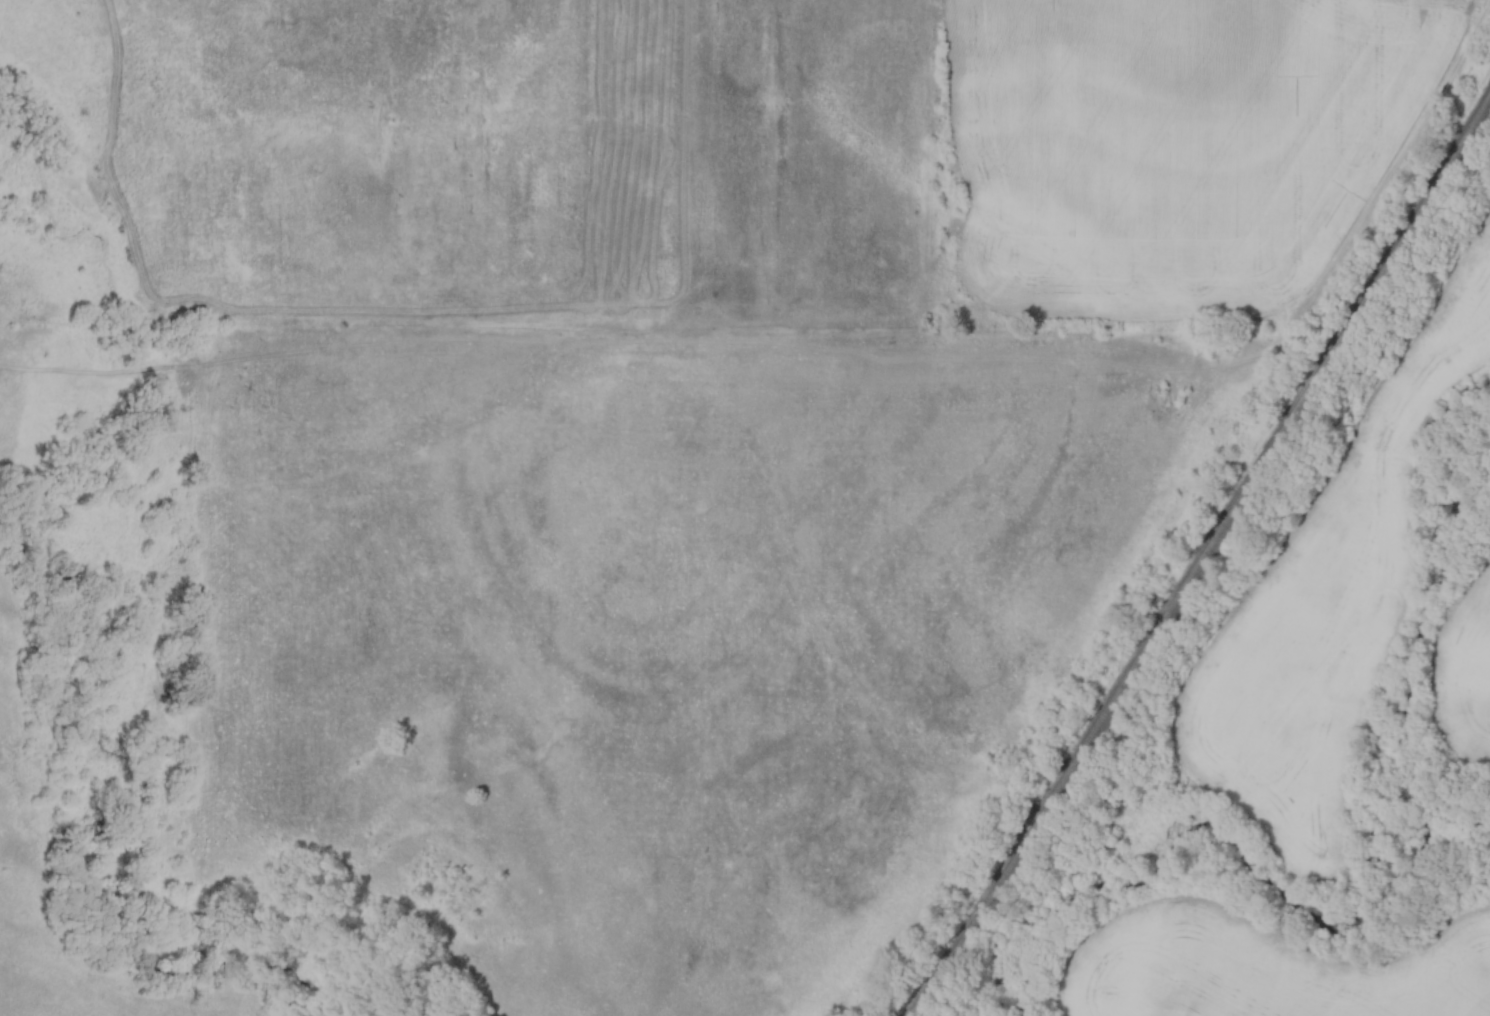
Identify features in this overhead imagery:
crop: (1173, 144)
railway: (1203, 560)
crop: (1325, 605)
crop: (1465, 657)
crop: (1267, 968)

